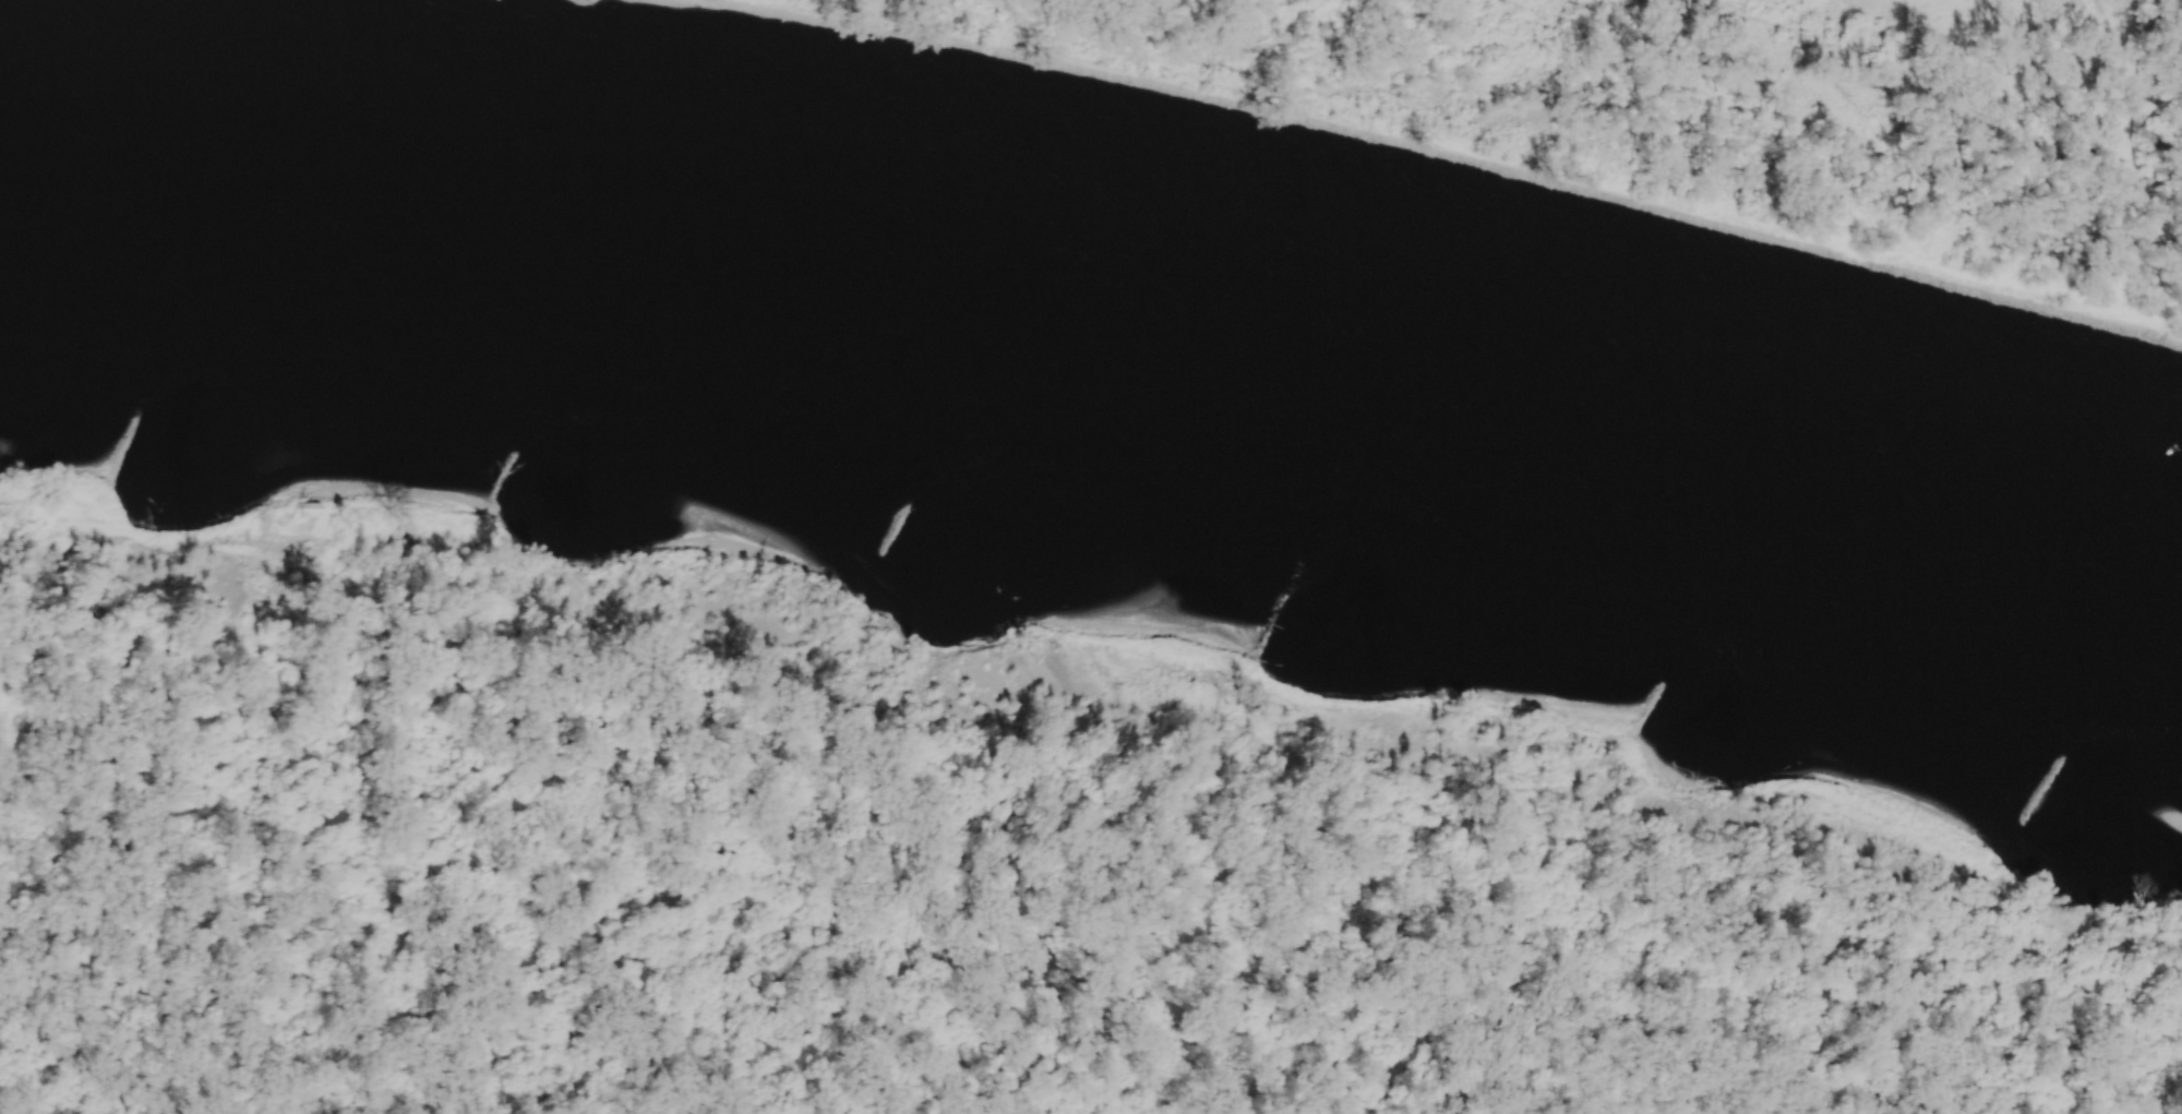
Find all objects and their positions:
road: (594, 1)
road: (610, 4)
park: (1681, 120)
river: (1100, 364)

